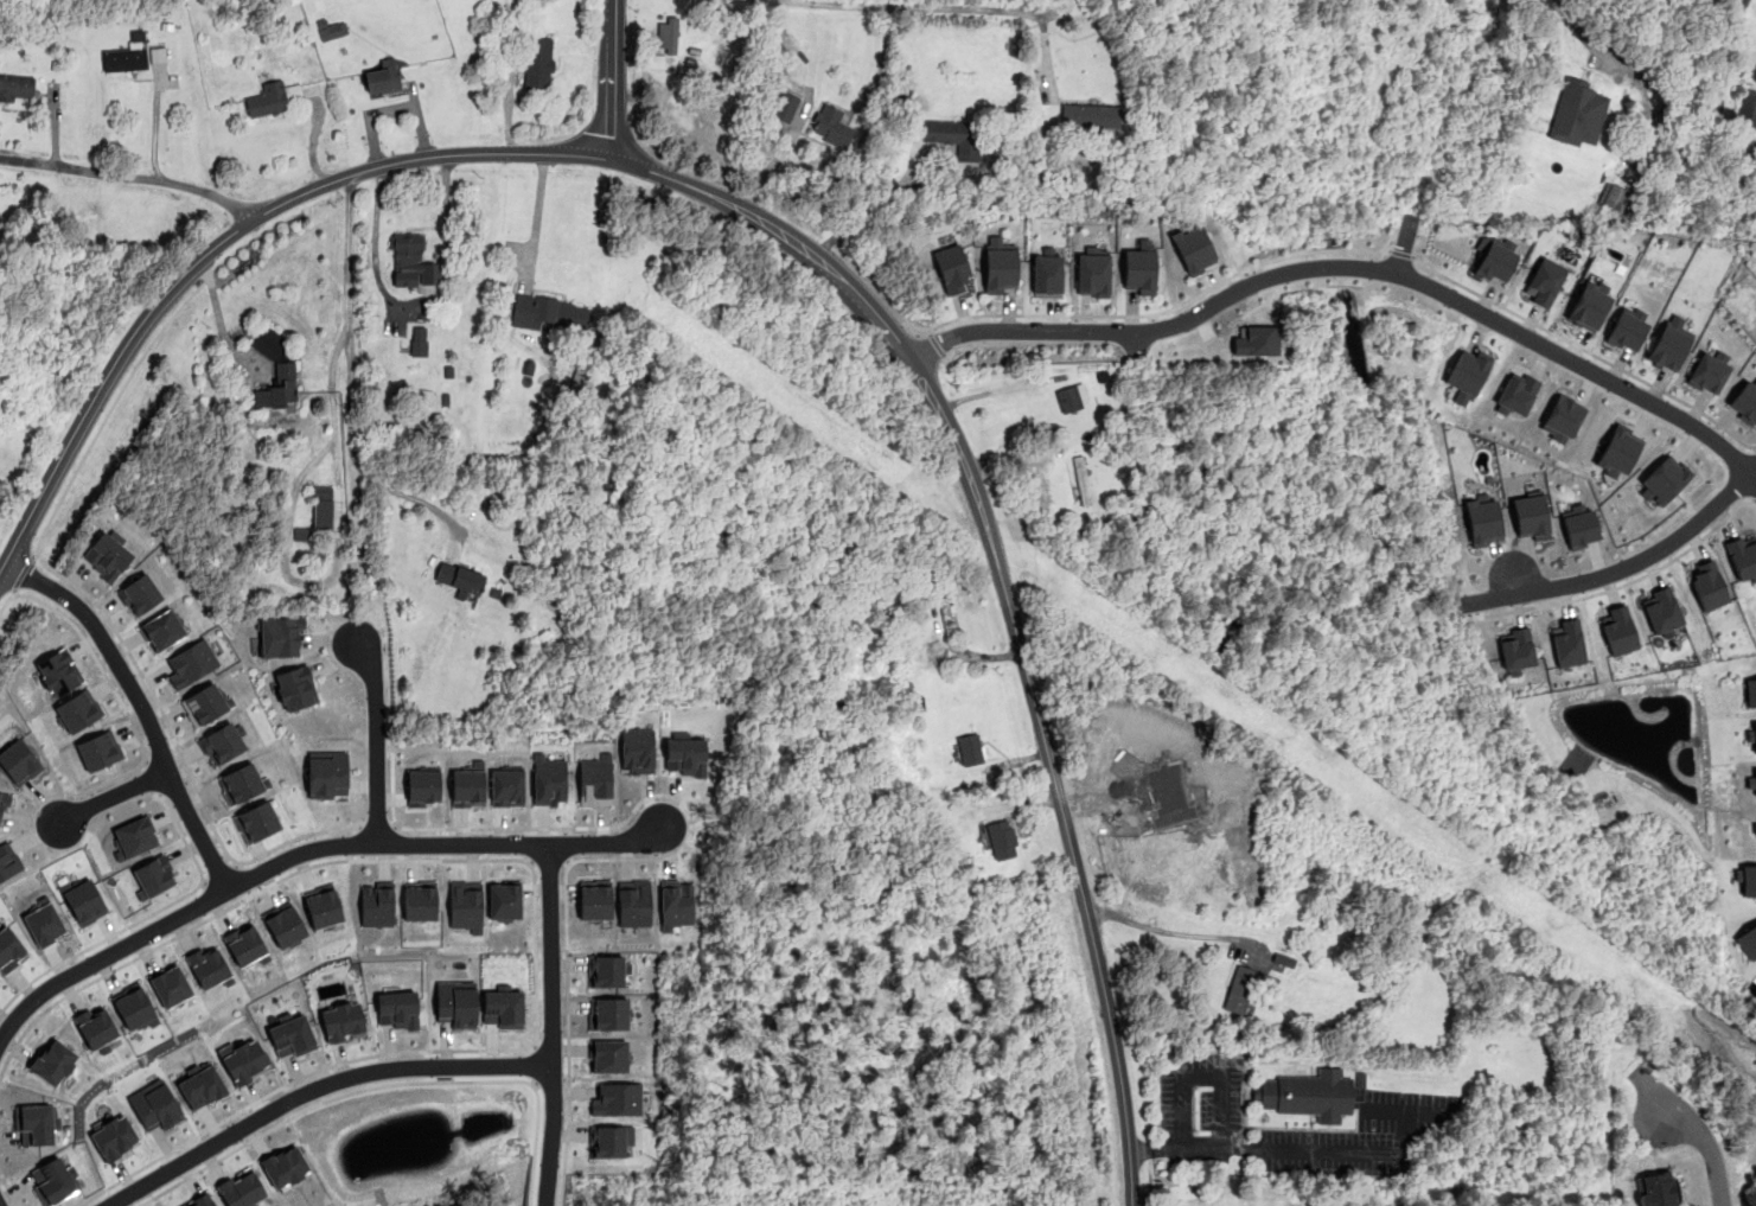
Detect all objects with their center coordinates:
road: (919, 5)
road: (1572, 27)
building: (330, 28)
building: (666, 36)
road: (1719, 49)
building: (126, 55)
building: (538, 62)
building: (383, 77)
road: (608, 78)
building: (17, 88)
building: (268, 98)
building: (784, 106)
building: (1747, 110)
building: (1577, 113)
building: (1090, 115)
building: (830, 123)
building: (954, 136)
road: (129, 176)
building: (1613, 196)
road: (871, 206)
road: (536, 215)
road: (222, 238)
road: (1403, 244)
building: (1193, 249)
road: (1400, 253)
building: (413, 262)
building: (1494, 262)
building: (1000, 264)
building: (1139, 267)
road: (1350, 267)
building: (951, 268)
building: (1093, 274)
building: (1047, 275)
building: (1544, 281)
road: (417, 304)
building: (1589, 305)
building: (550, 313)
road: (1102, 314)
road: (346, 321)
building: (1627, 327)
road: (927, 331)
building: (419, 340)
building: (1256, 340)
road: (936, 343)
building: (1671, 343)
road: (1584, 349)
building: (1710, 369)
building: (275, 371)
building: (1466, 375)
road: (994, 390)
building: (1515, 394)
building: (1072, 396)
building: (1745, 401)
building: (1560, 419)
building: (1617, 452)
building: (1662, 481)
road: (414, 497)
road: (1754, 500)
road: (1754, 504)
building: (323, 508)
building: (1530, 516)
building: (1481, 519)
building: (1578, 524)
building: (302, 534)
building: (1742, 555)
building: (106, 556)
road: (1624, 568)
road: (21, 572)
building: (460, 578)
building: (1707, 585)
road: (1618, 586)
road: (1005, 592)
building: (140, 594)
road: (101, 608)
building: (1661, 611)
road: (59, 614)
building: (161, 630)
building: (1617, 630)
building: (279, 636)
building: (1567, 643)
building: (1515, 647)
building: (191, 662)
building: (59, 671)
building: (295, 687)
building: (1750, 691)
building: (206, 703)
road: (141, 704)
building: (77, 710)
building: (1751, 735)
road: (376, 739)
building: (222, 742)
building: (970, 748)
building: (98, 749)
building: (637, 749)
building: (685, 755)
building: (19, 761)
road: (140, 762)
building: (326, 773)
road: (154, 777)
building: (595, 778)
building: (548, 779)
building: (1751, 781)
building: (241, 783)
building: (423, 787)
building: (467, 787)
building: (506, 787)
road: (113, 795)
building: (5, 797)
building: (256, 822)
road: (378, 825)
building: (1754, 827)
road: (453, 828)
building: (133, 837)
building: (1001, 838)
road: (305, 850)
building: (8, 860)
road: (528, 861)
road: (548, 861)
road: (568, 861)
building: (153, 876)
building: (1745, 879)
road: (534, 882)
building: (594, 899)
building: (84, 900)
building: (419, 900)
building: (504, 901)
building: (633, 902)
building: (376, 904)
building: (675, 904)
building: (465, 905)
building: (321, 906)
road: (141, 919)
building: (44, 923)
building: (285, 925)
road: (1170, 931)
building: (1747, 940)
building: (244, 945)
building: (9, 949)
building: (1282, 962)
building: (209, 966)
building: (607, 971)
building: (170, 985)
road: (566, 988)
building: (1239, 988)
building: (455, 1003)
building: (133, 1007)
building: (502, 1008)
building: (396, 1009)
building: (607, 1013)
building: (341, 1021)
road: (550, 1025)
building: (95, 1028)
building: (290, 1036)
building: (608, 1055)
building: (242, 1060)
building: (53, 1061)
road: (535, 1061)
road: (551, 1079)
road: (485, 1080)
road: (534, 1084)
building: (200, 1085)
road: (314, 1087)
building: (1305, 1093)
building: (615, 1099)
building: (154, 1105)
building: (33, 1123)
road: (1694, 1130)
building: (114, 1137)
building: (609, 1140)
road: (1246, 1148)
road: (1151, 1149)
road: (228, 1153)
building: (283, 1166)
road: (1699, 1173)
road: (1, 1174)
building: (53, 1180)
building: (240, 1188)
building: (1656, 1188)
building: (199, 1200)

